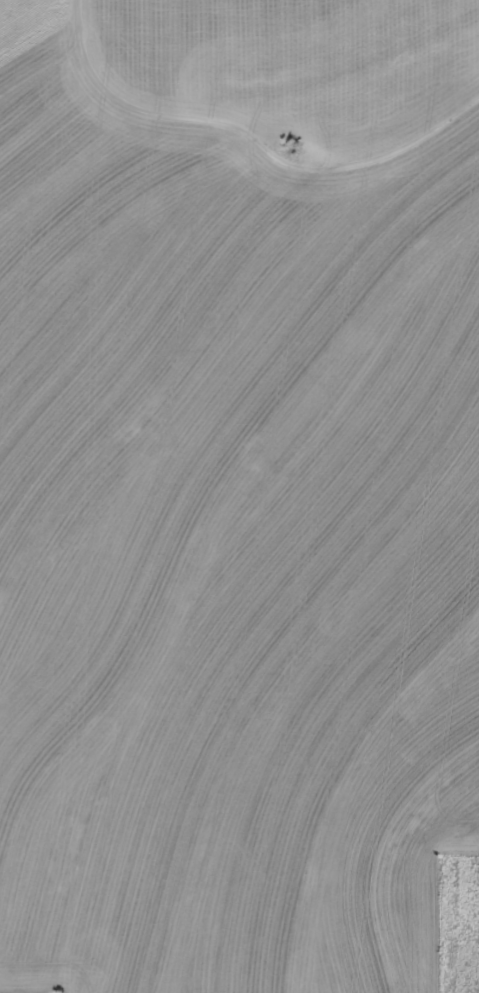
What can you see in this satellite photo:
road: (254, 121)

